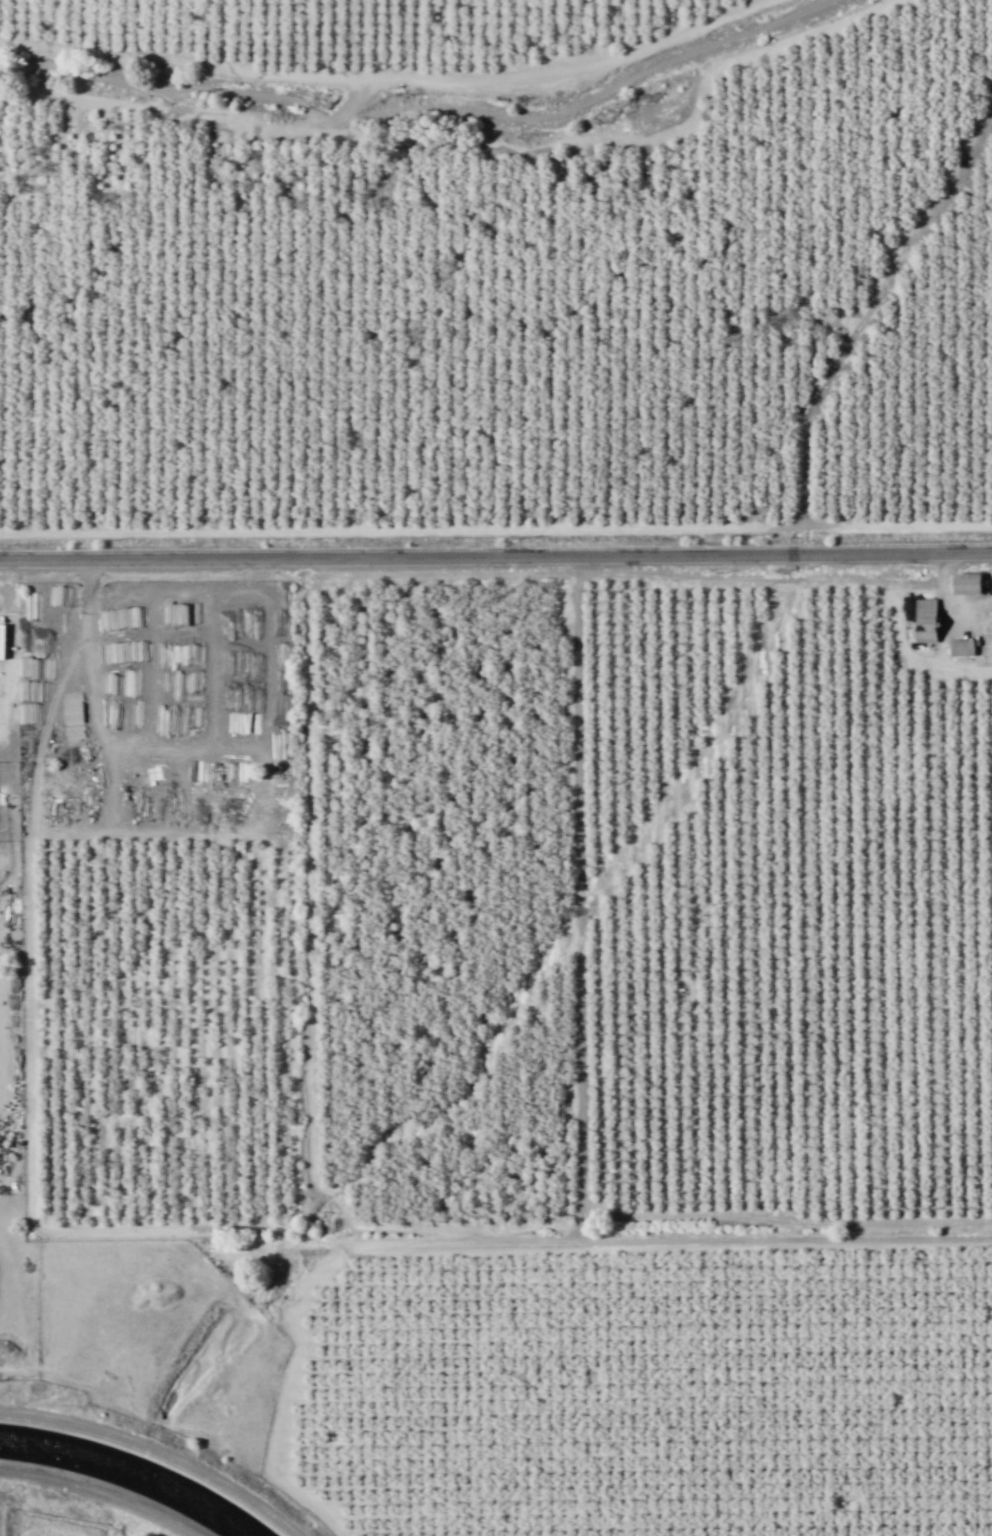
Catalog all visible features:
road: (387, 78)
road: (201, 115)
road: (639, 141)
road: (865, 297)
road: (871, 321)
road: (900, 527)
road: (404, 531)
road: (495, 556)
building: (925, 619)
road: (93, 716)
road: (310, 1011)
road: (580, 1085)
road: (30, 1093)
road: (502, 1240)
road: (99, 1494)

